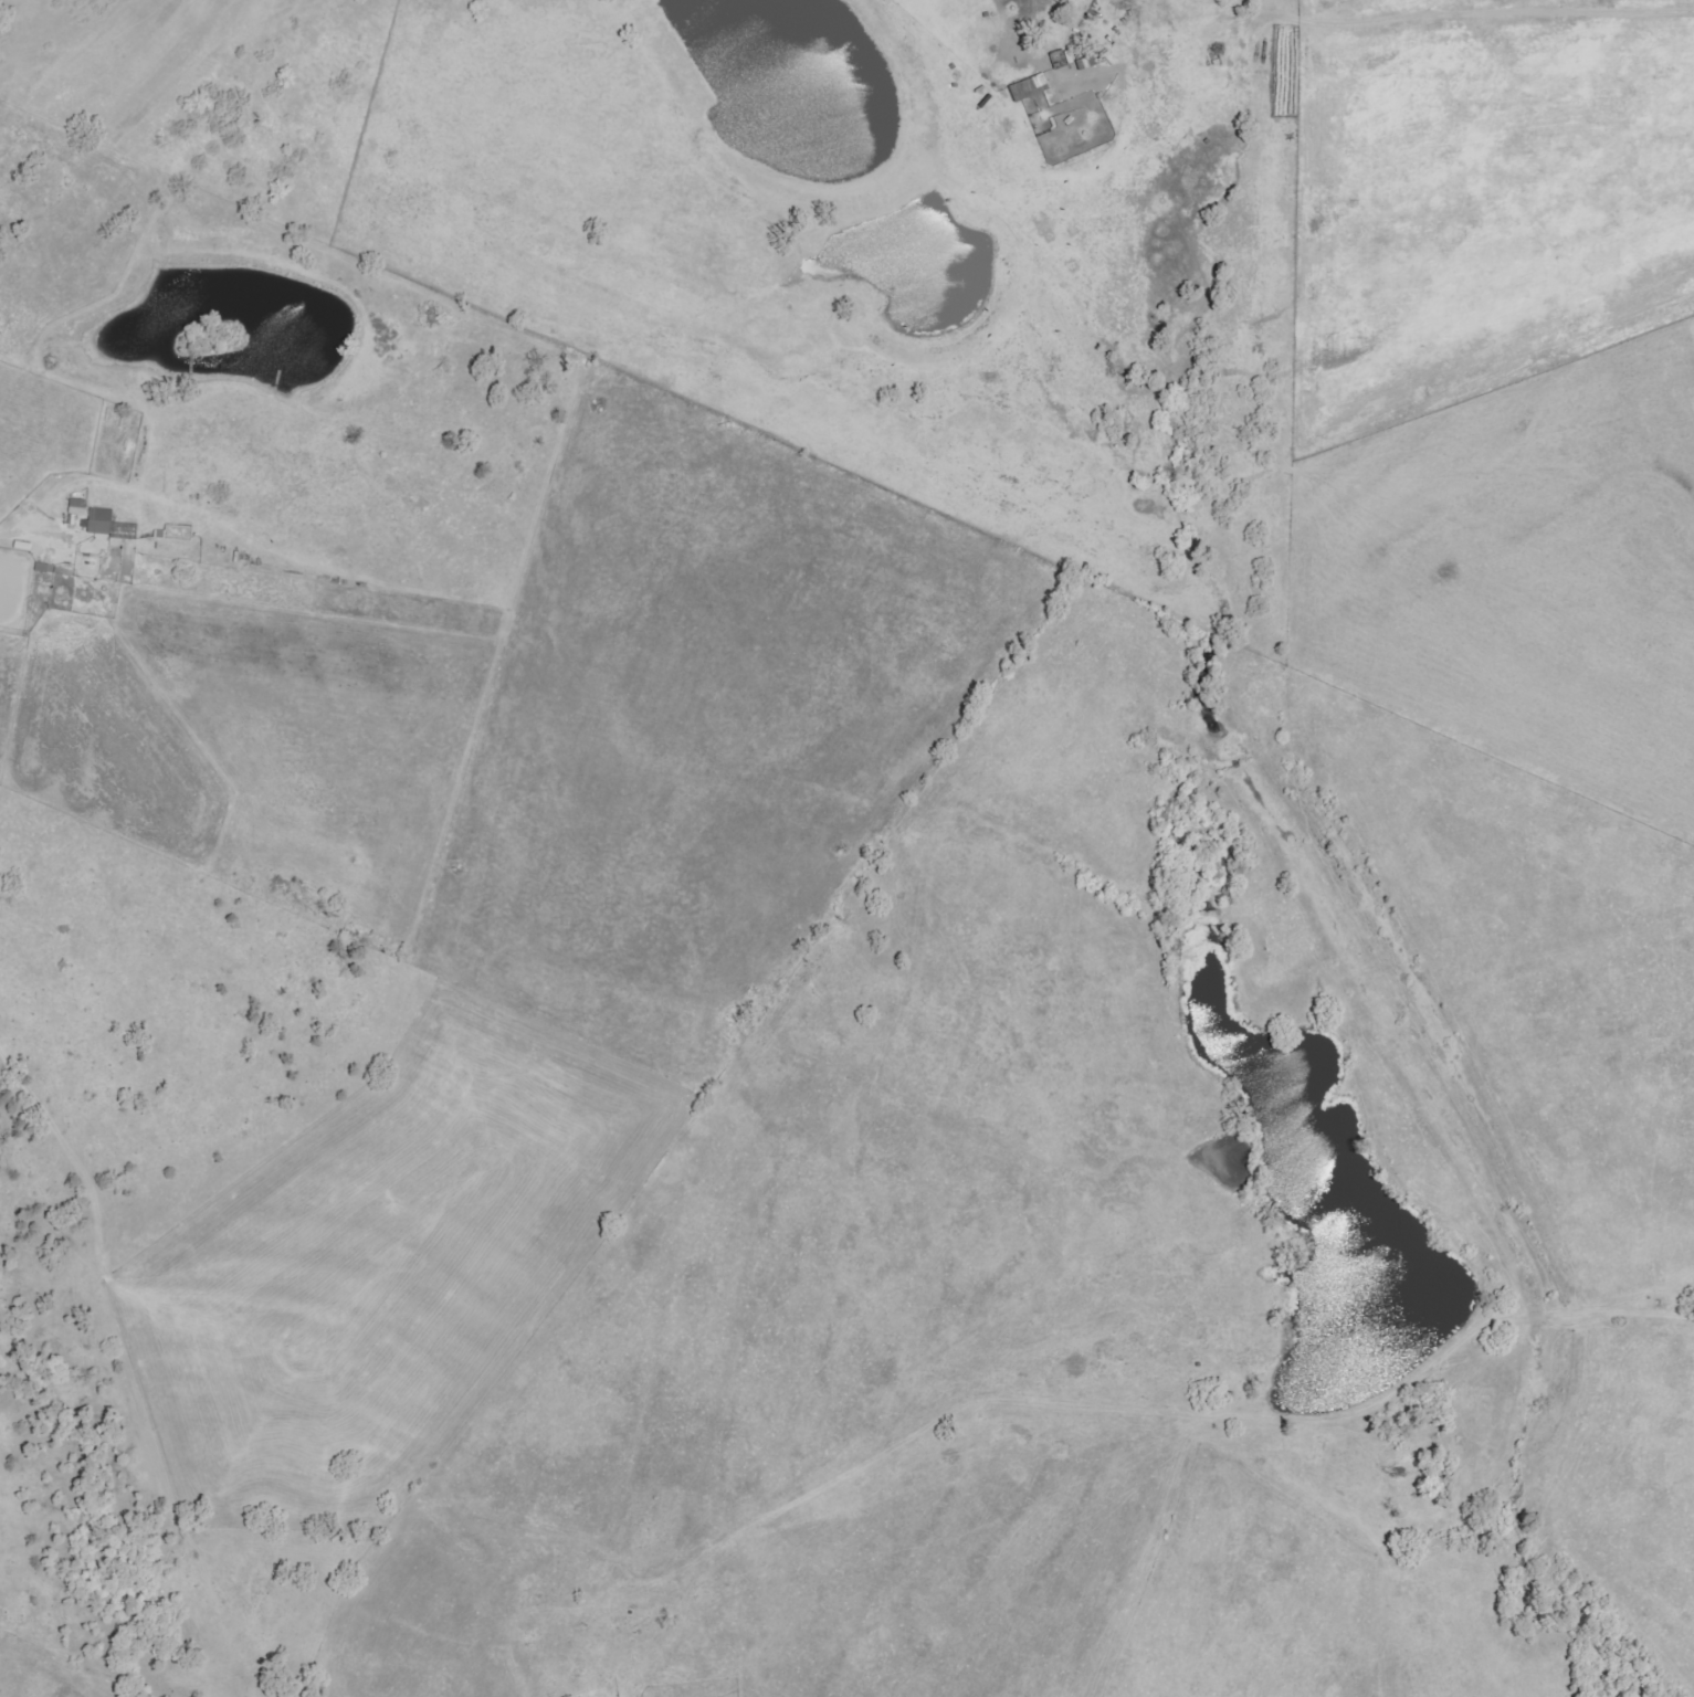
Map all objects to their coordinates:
building: (1029, 88)
building: (108, 524)
road: (11, 534)
road: (1434, 1566)

